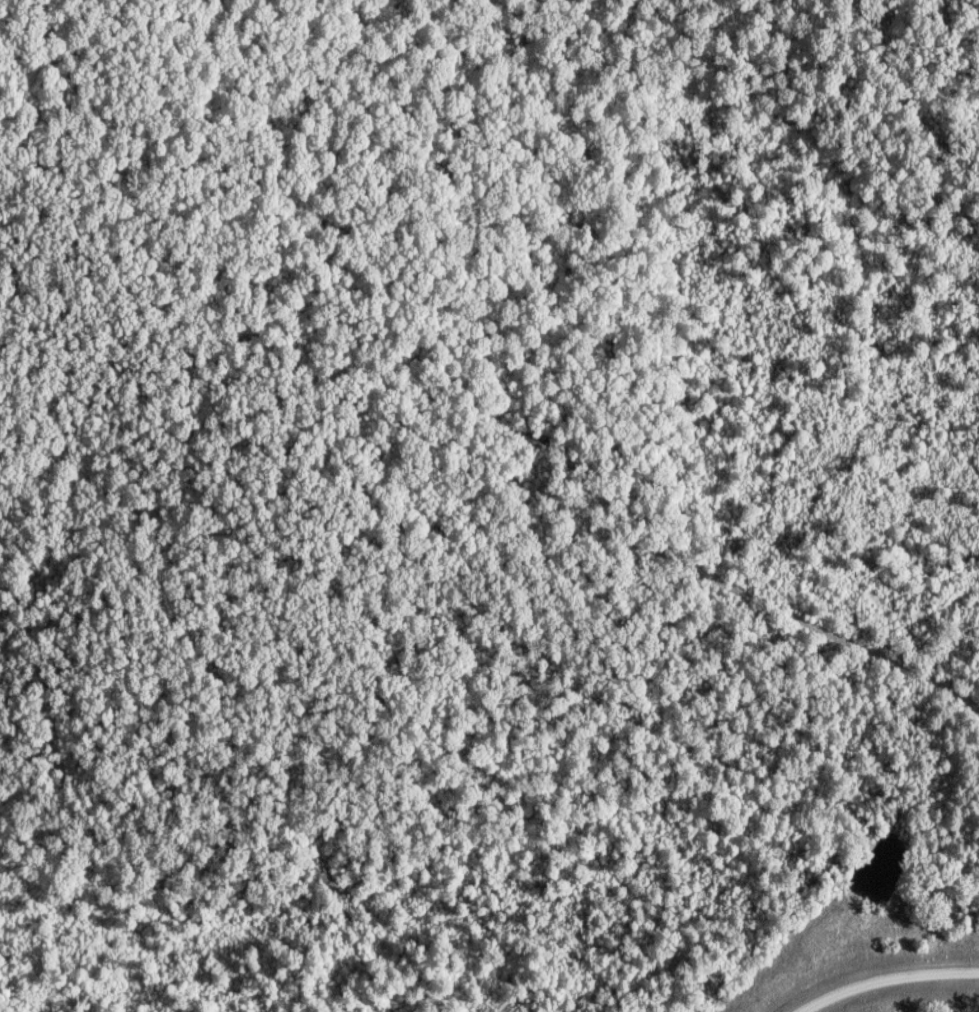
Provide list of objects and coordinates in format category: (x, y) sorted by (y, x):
road: (891, 979)

